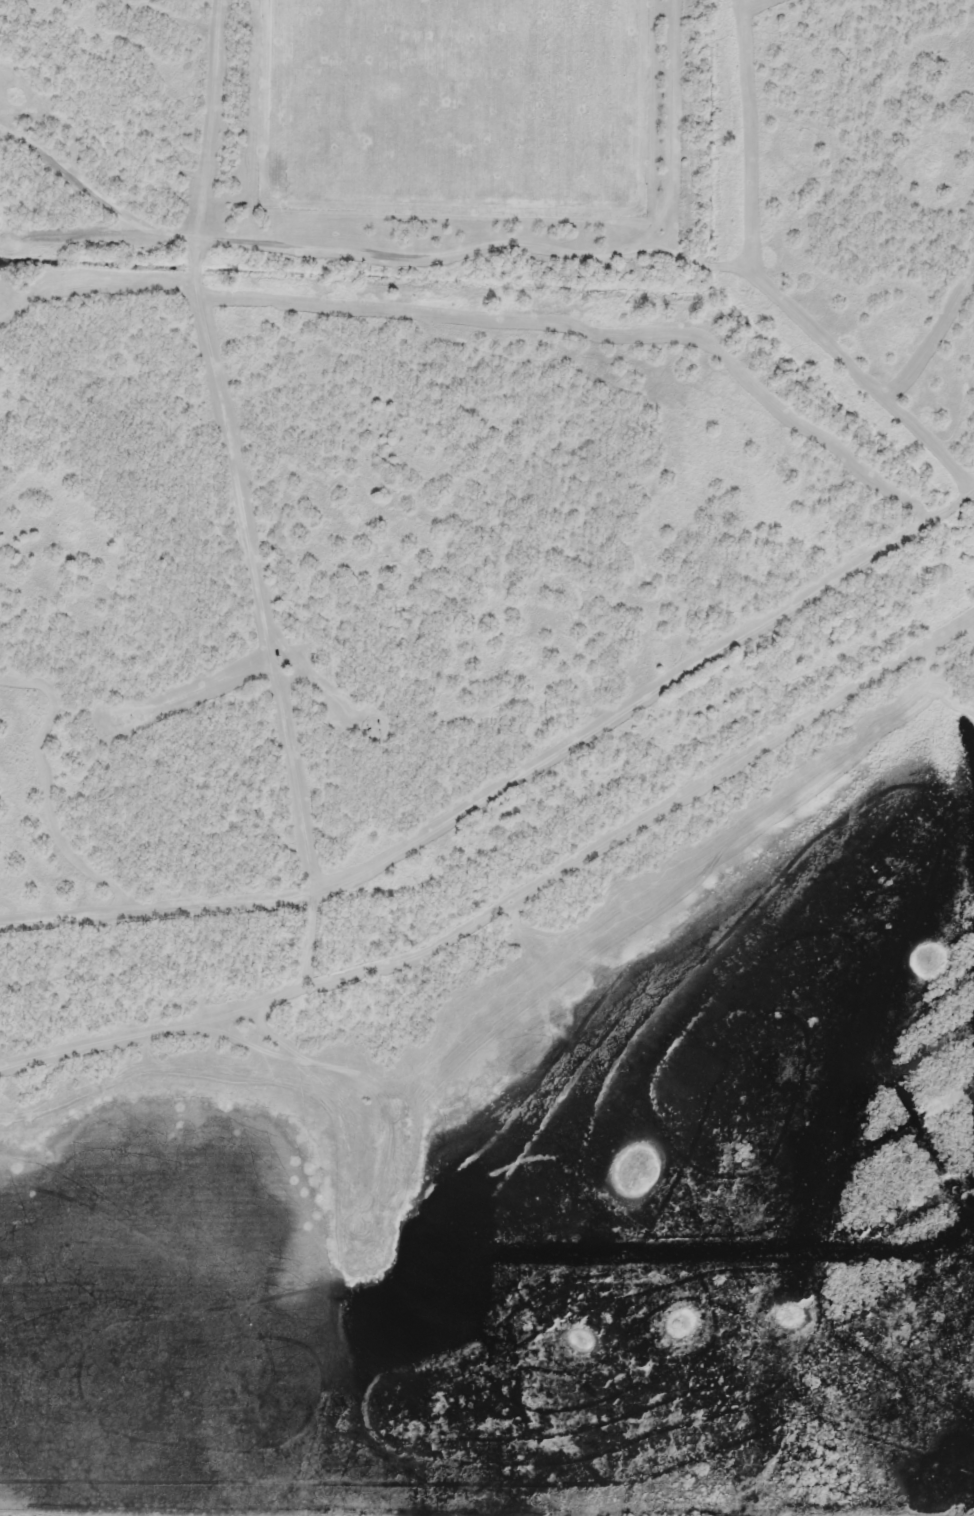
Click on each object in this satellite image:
road: (495, 204)
river: (42, 242)

